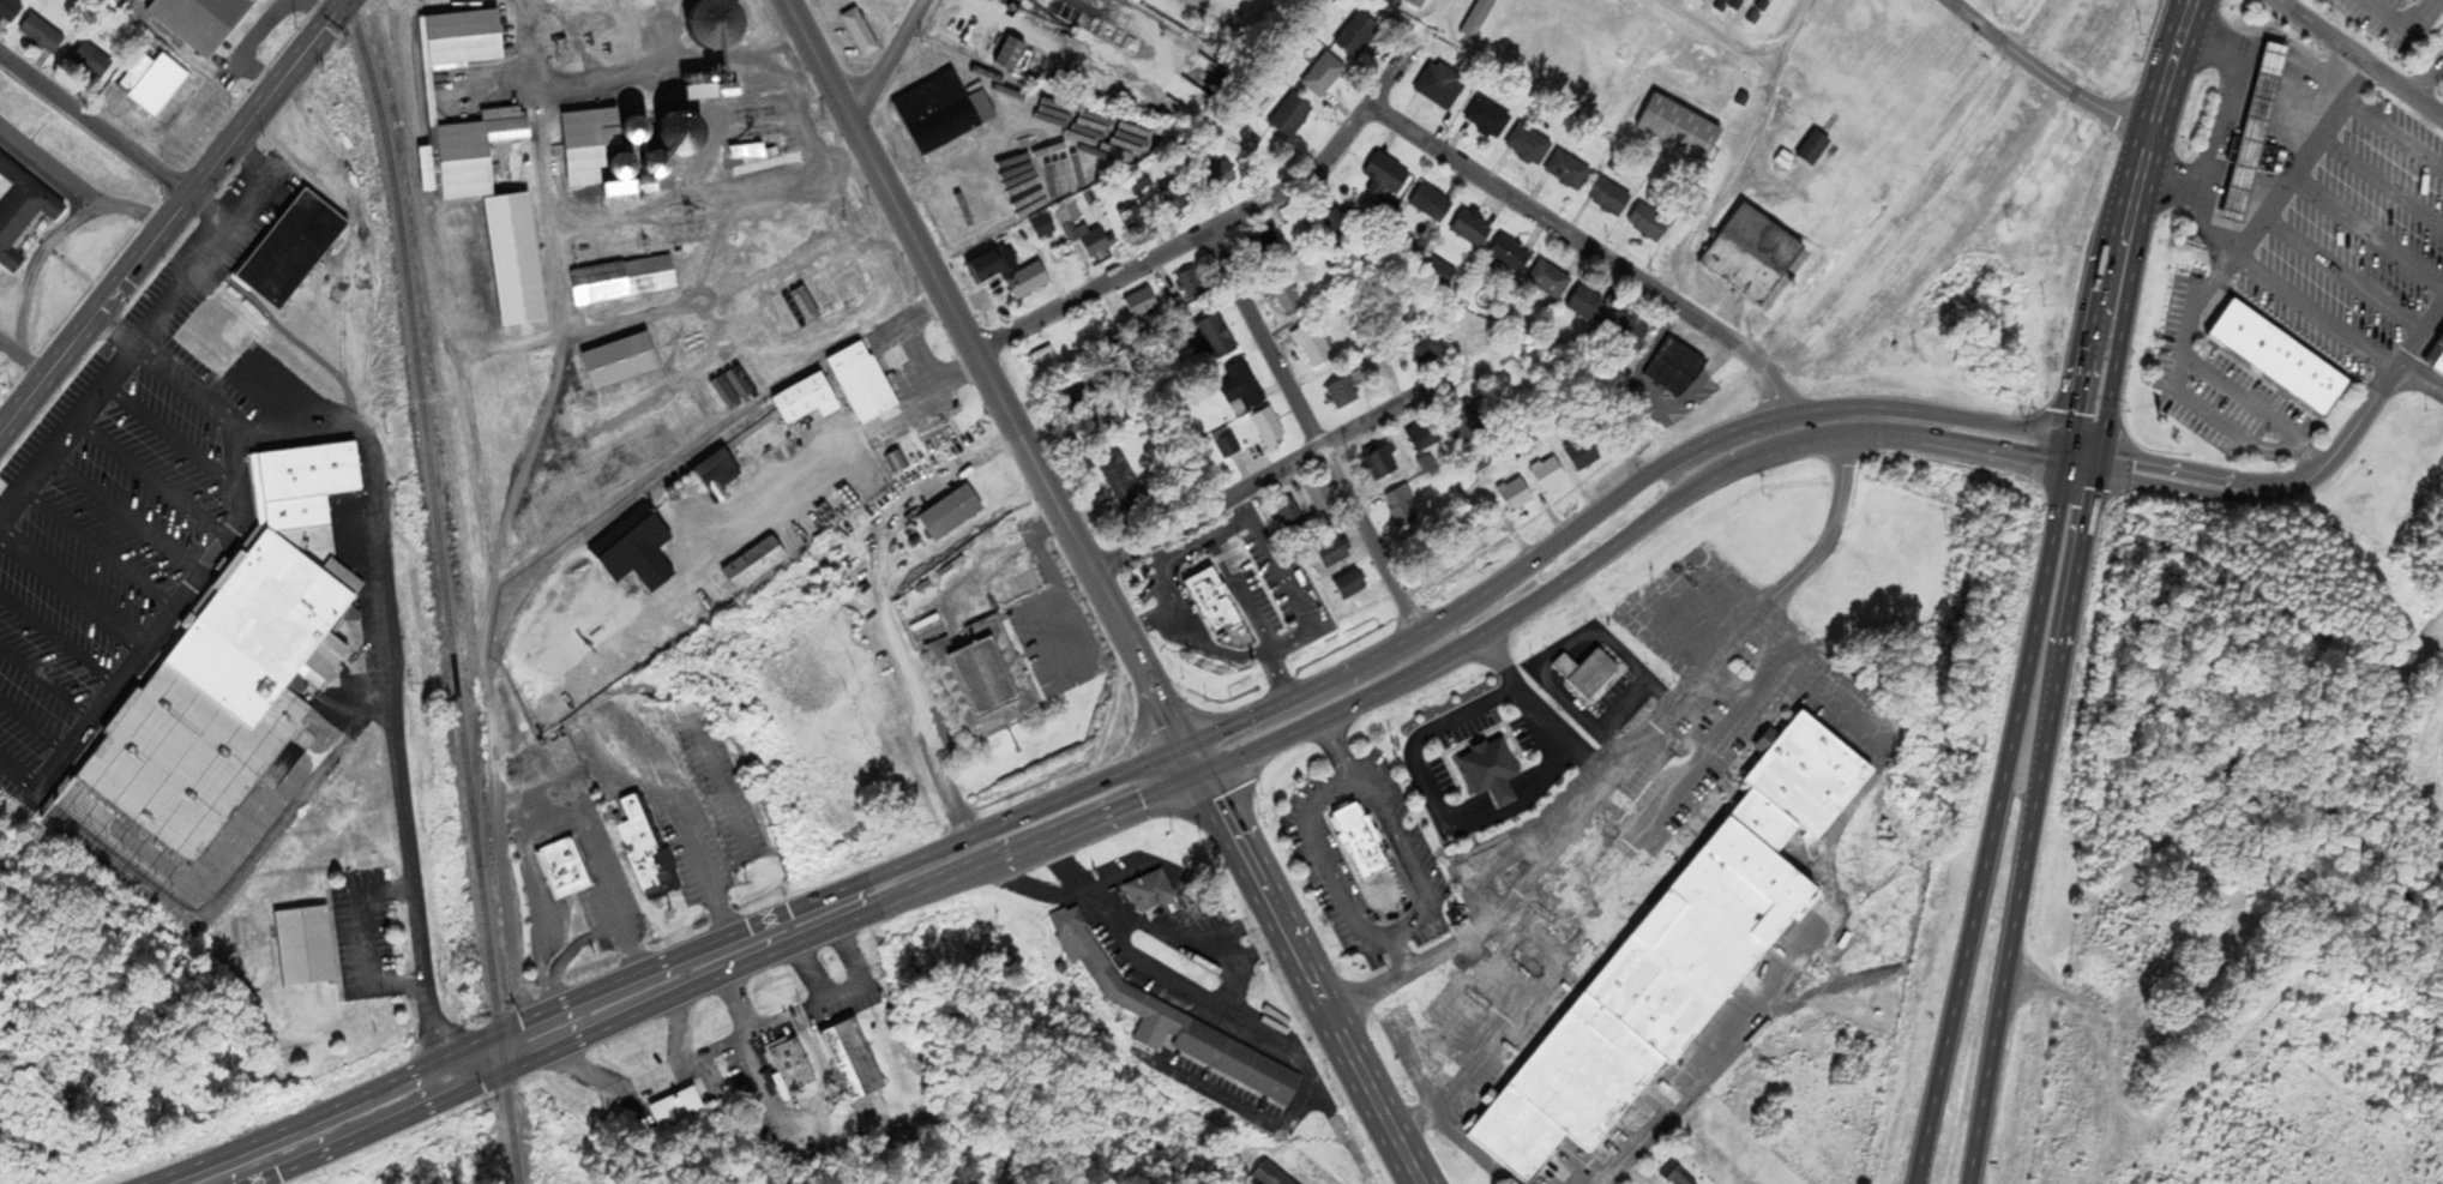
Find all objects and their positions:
building: (1006, 0)
building: (1703, 1)
road: (2280, 1)
building: (1419, 4)
road: (2188, 5)
building: (1733, 6)
building: (8, 12)
building: (1761, 12)
building: (1479, 18)
building: (201, 22)
building: (711, 22)
silo: (711, 22)
road: (1975, 24)
building: (856, 29)
building: (458, 34)
building: (42, 35)
building: (1359, 35)
road: (523, 44)
building: (1005, 52)
road: (2358, 59)
road: (886, 60)
building: (92, 61)
road: (2441, 64)
building: (1324, 76)
road: (603, 78)
road: (2429, 78)
building: (154, 82)
building: (1440, 86)
road: (2160, 90)
road: (2072, 94)
building: (932, 112)
building: (1292, 116)
building: (1487, 119)
building: (586, 126)
building: (732, 126)
building: (631, 128)
silo: (631, 128)
building: (1681, 128)
building: (2252, 130)
road: (96, 132)
road: (2219, 132)
road: (2394, 138)
building: (1528, 145)
building: (1815, 150)
building: (468, 151)
building: (2251, 152)
road: (251, 161)
building: (650, 162)
silo: (650, 162)
building: (580, 163)
building: (615, 163)
silo: (615, 163)
building: (1568, 170)
building: (1388, 176)
road: (2292, 176)
building: (1219, 181)
building: (1024, 182)
building: (1139, 185)
road: (2381, 185)
road: (2129, 187)
road: (76, 194)
building: (1609, 198)
building: (1433, 204)
road: (661, 206)
building: (20, 212)
road: (174, 221)
building: (1336, 221)
building: (1131, 222)
building: (1649, 223)
road: (2220, 224)
road: (1215, 227)
building: (1043, 228)
building: (1473, 229)
road: (2367, 232)
building: (1090, 240)
building: (1765, 241)
building: (1263, 245)
building: (285, 247)
building: (1510, 254)
road: (1601, 257)
building: (509, 259)
road: (31, 263)
building: (1009, 272)
building: (1440, 272)
building: (620, 277)
road: (2342, 277)
building: (1551, 280)
building: (1191, 287)
road: (684, 302)
building: (1290, 302)
building: (501, 303)
building: (1143, 306)
building: (1589, 307)
road: (2315, 315)
road: (2086, 320)
road: (2118, 326)
road: (115, 331)
road: (290, 338)
building: (1215, 339)
road: (2419, 342)
road: (134, 344)
building: (1314, 347)
building: (1431, 350)
building: (2276, 356)
building: (615, 359)
road: (23, 360)
building: (2438, 362)
building: (1675, 369)
road: (986, 371)
building: (856, 380)
building: (1242, 387)
road: (193, 392)
building: (799, 396)
building: (1342, 396)
road: (2186, 397)
road: (2240, 398)
road: (1793, 415)
road: (2359, 420)
building: (1270, 432)
road: (1312, 433)
road: (169, 437)
building: (1427, 437)
road: (1824, 440)
traffic signals: (2065, 441)
building: (1227, 447)
traffic signals: (2095, 449)
road: (1975, 452)
building: (1583, 455)
road: (2311, 457)
road: (1749, 458)
building: (1383, 465)
traffic signals: (2060, 467)
building: (712, 469)
road: (1276, 469)
traffic signals: (2090, 473)
road: (2316, 473)
road: (2201, 474)
road: (372, 475)
building: (1548, 475)
road: (151, 480)
building: (1120, 480)
road: (2200, 491)
building: (1322, 497)
building: (1516, 497)
parking lot: (115, 499)
building: (1402, 510)
building: (946, 511)
road: (1834, 515)
road: (124, 517)
building: (1290, 517)
road: (482, 518)
road: (1202, 542)
road: (97, 551)
building: (634, 553)
building: (1334, 554)
building: (748, 561)
road: (1282, 581)
building: (1350, 587)
railway: (534, 588)
railway: (443, 589)
road: (1241, 593)
road: (72, 595)
building: (1012, 595)
road: (1174, 597)
building: (1207, 600)
road: (1452, 613)
road: (1150, 619)
road: (58, 642)
road: (1468, 642)
road: (1238, 656)
building: (1582, 672)
building: (979, 675)
road: (1276, 677)
road: (44, 685)
building: (219, 691)
road: (1281, 704)
road: (32, 727)
traffic signals: (1187, 743)
road: (1338, 751)
road: (1195, 757)
building: (1486, 768)
traffic signals: (1202, 773)
road: (18, 776)
road: (1029, 812)
road: (1996, 813)
road: (2032, 816)
road: (1570, 821)
road: (1083, 822)
building: (1355, 840)
building: (642, 848)
building: (559, 866)
road: (1252, 869)
road: (1612, 875)
road: (921, 881)
building: (1150, 894)
road: (1379, 934)
road: (363, 940)
building: (301, 945)
building: (1674, 955)
road: (1401, 978)
building: (1178, 1023)
road: (541, 1035)
road: (1695, 1058)
building: (854, 1059)
park: (2195, 1062)
building: (793, 1066)
road: (1360, 1075)
building: (678, 1108)
road: (516, 1117)
building: (1268, 1177)
building: (1677, 1177)

